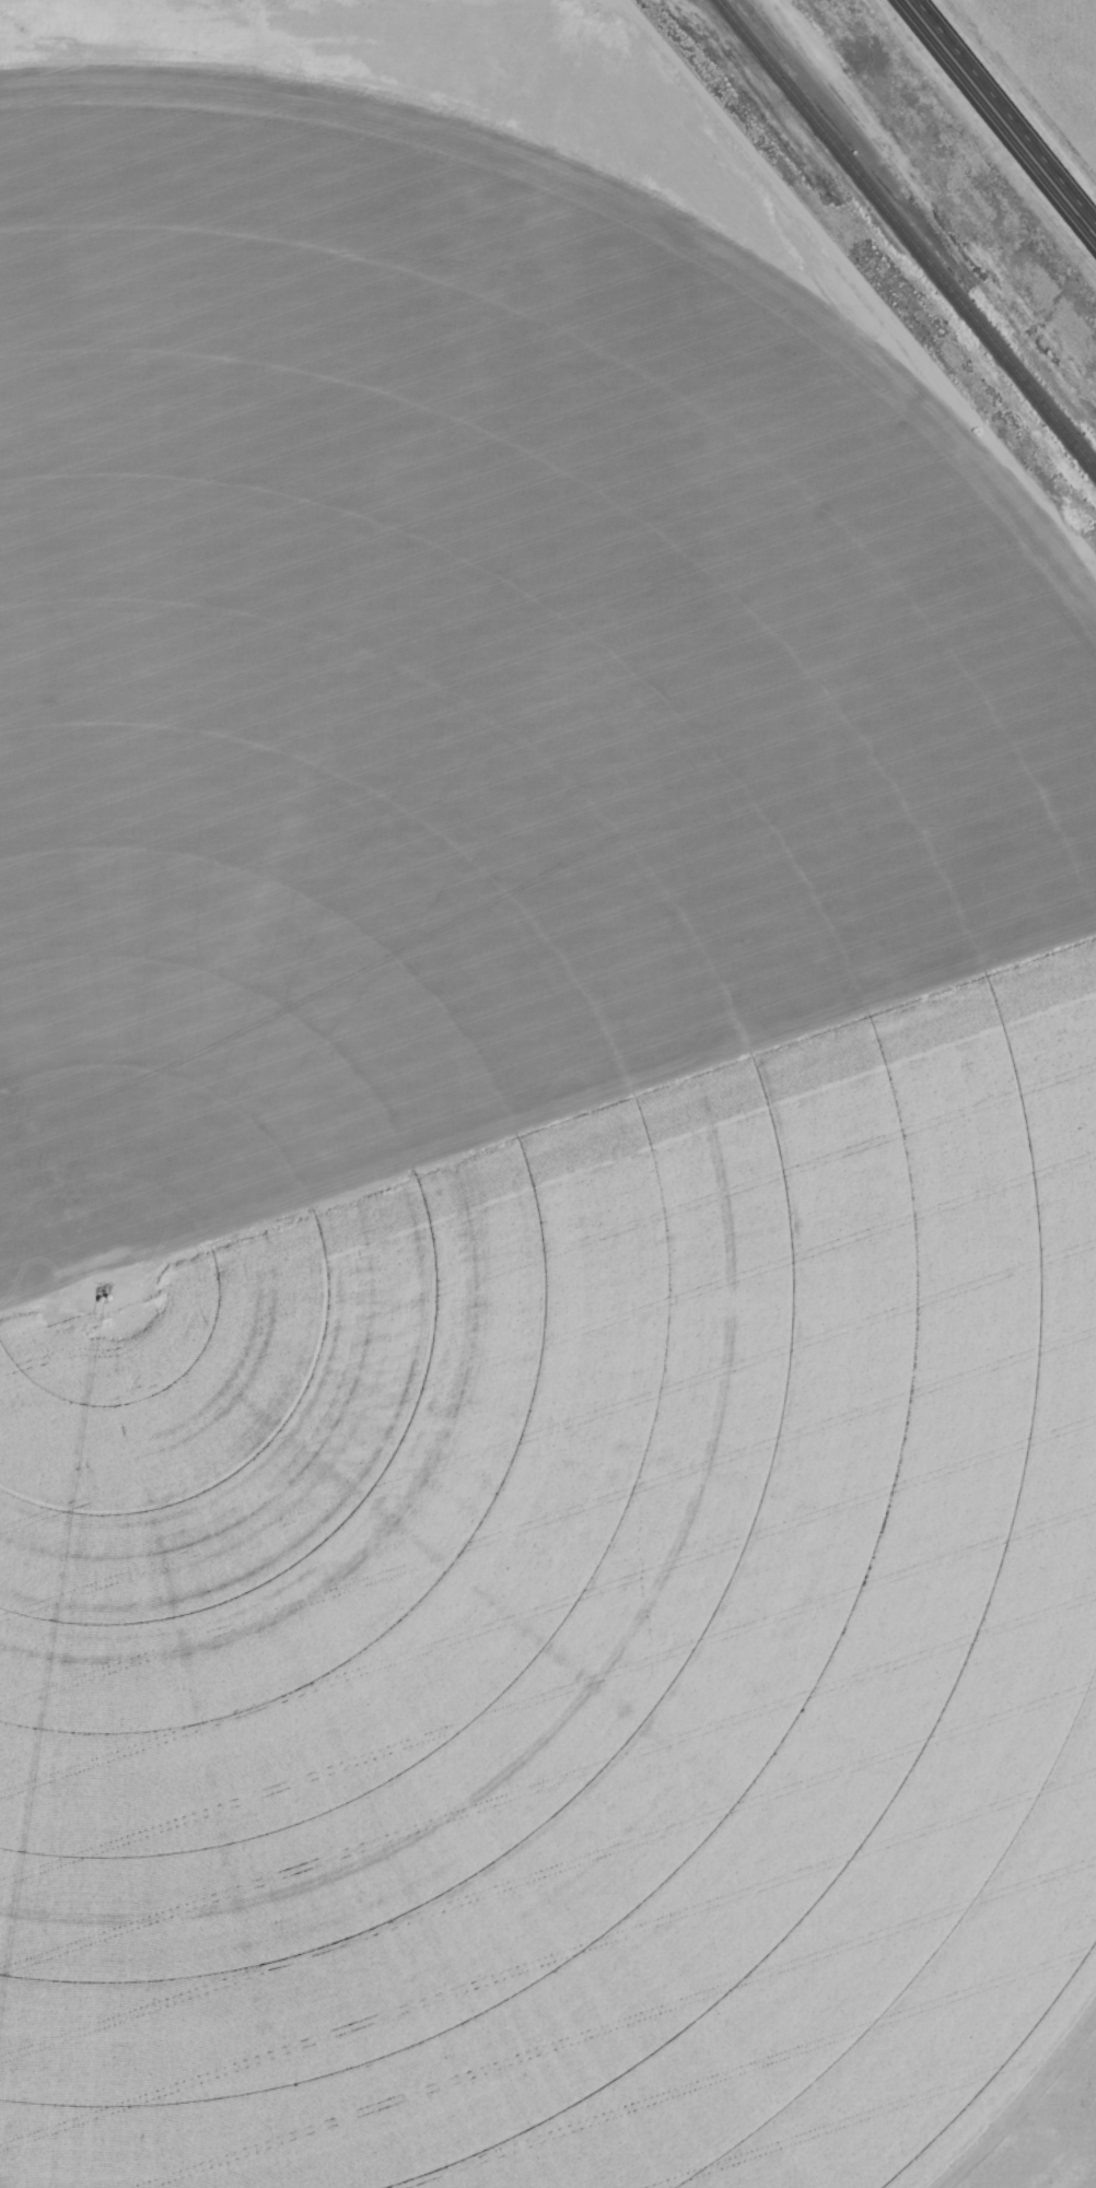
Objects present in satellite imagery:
road: (1005, 112)
railway: (905, 236)

